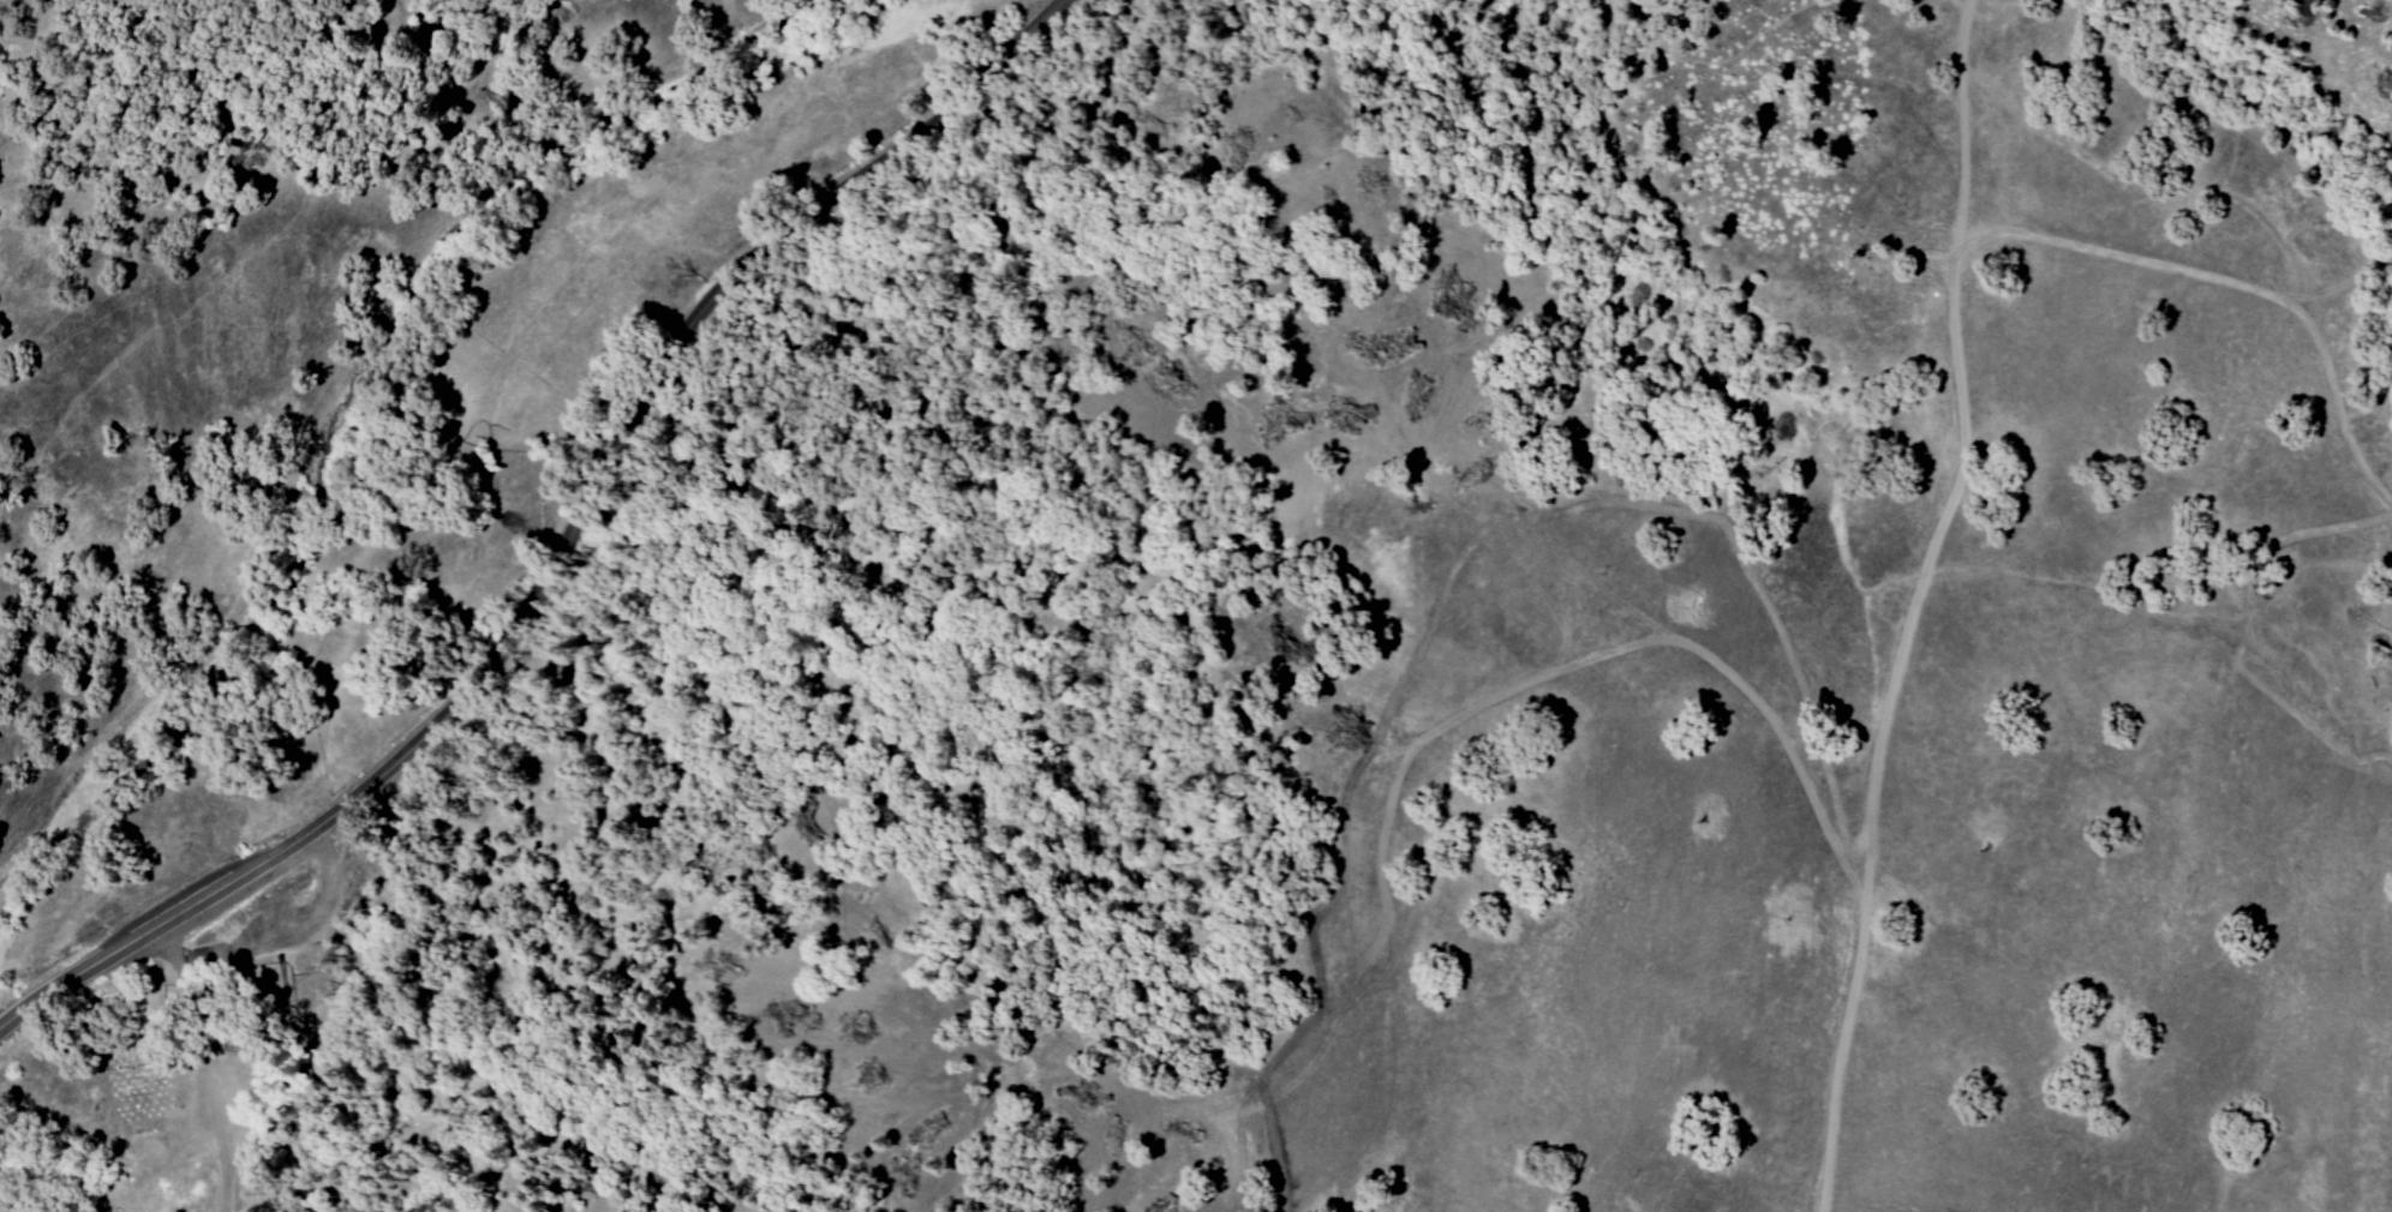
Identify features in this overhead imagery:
road: (560, 551)
road: (205, 1066)

